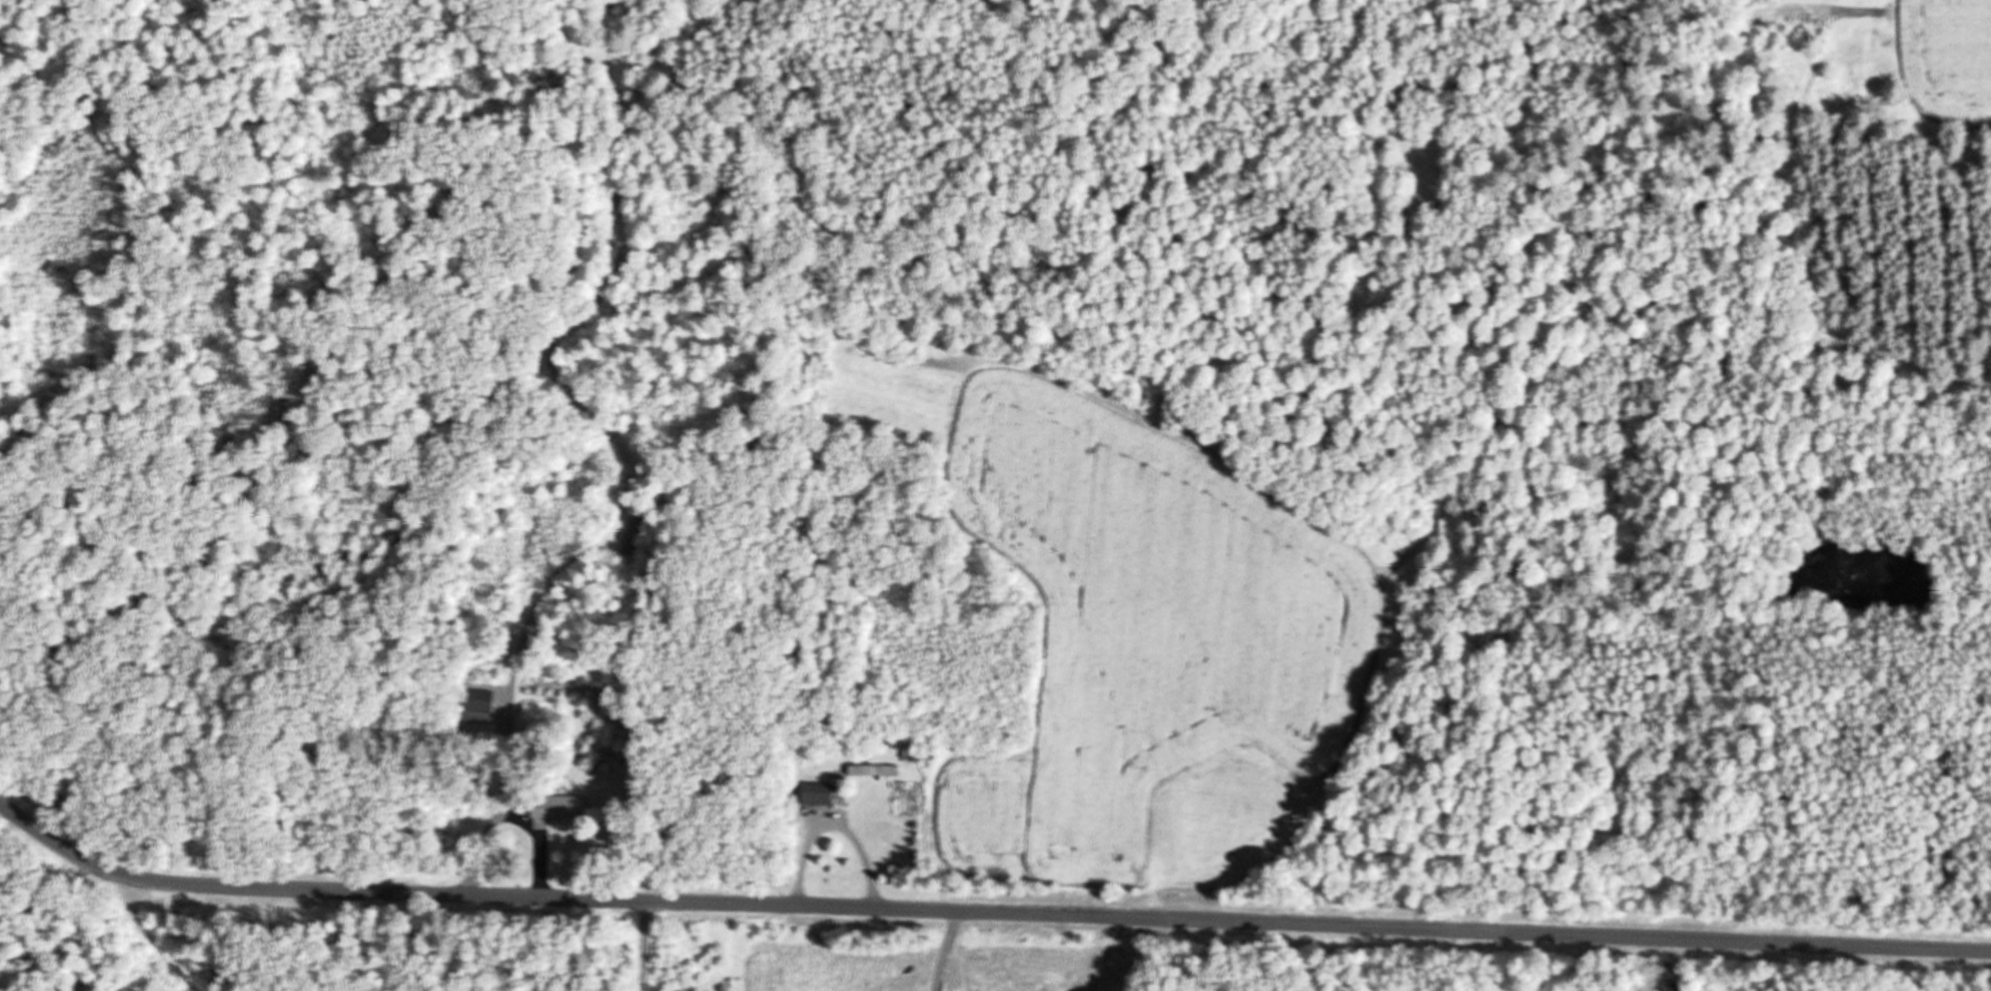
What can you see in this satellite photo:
building: (489, 703)
building: (870, 770)
building: (813, 793)
building: (555, 807)
road: (985, 911)

